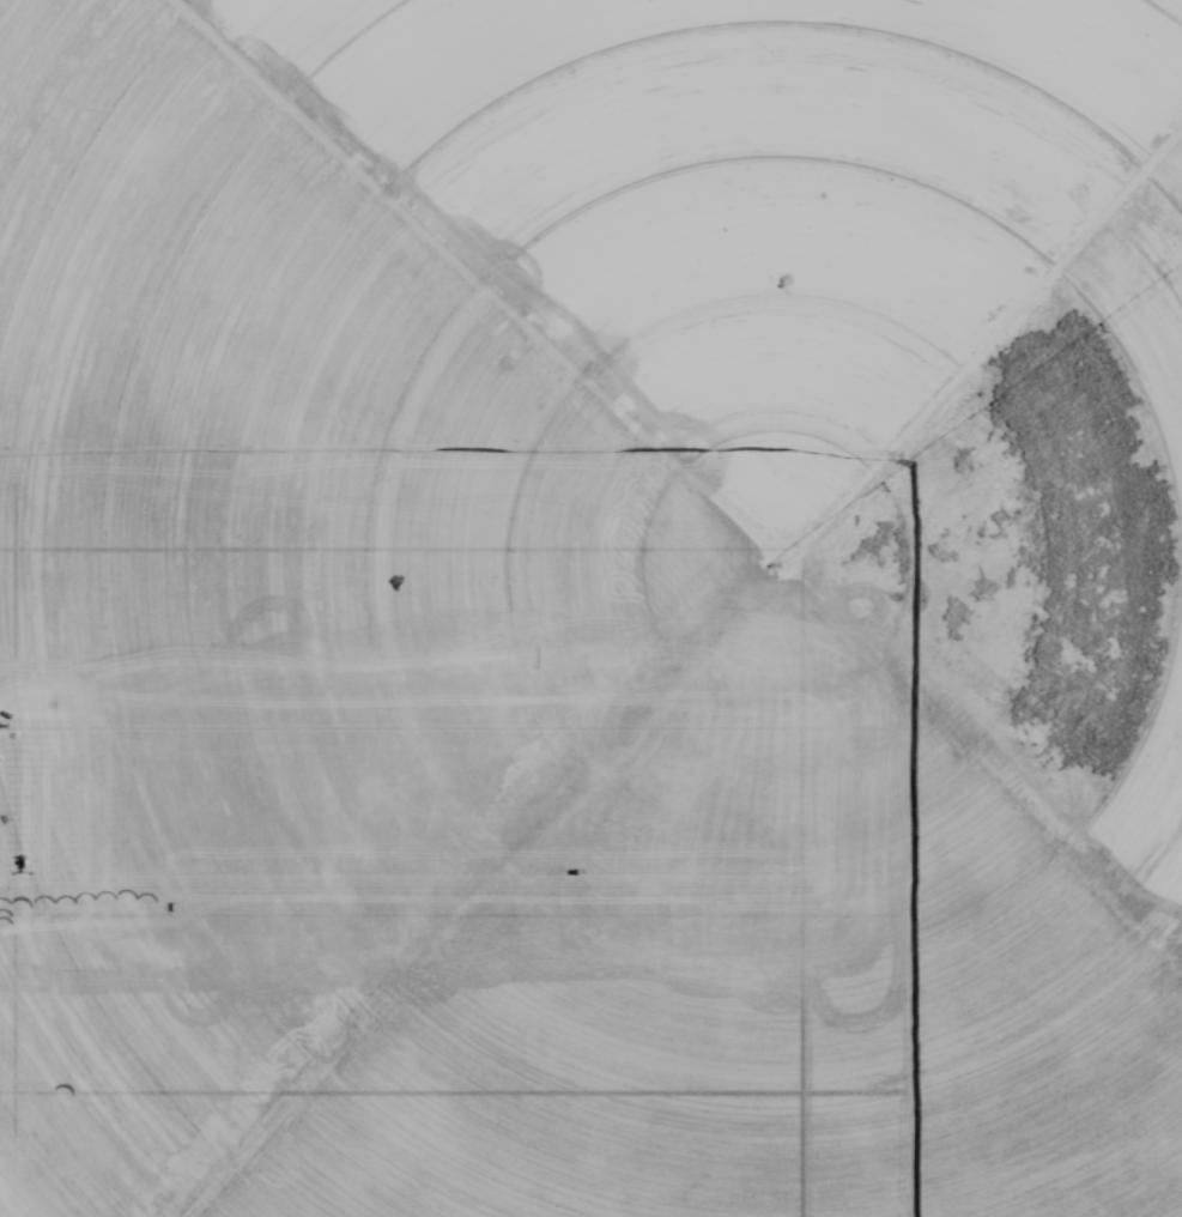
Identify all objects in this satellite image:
crop: (592, 607)

